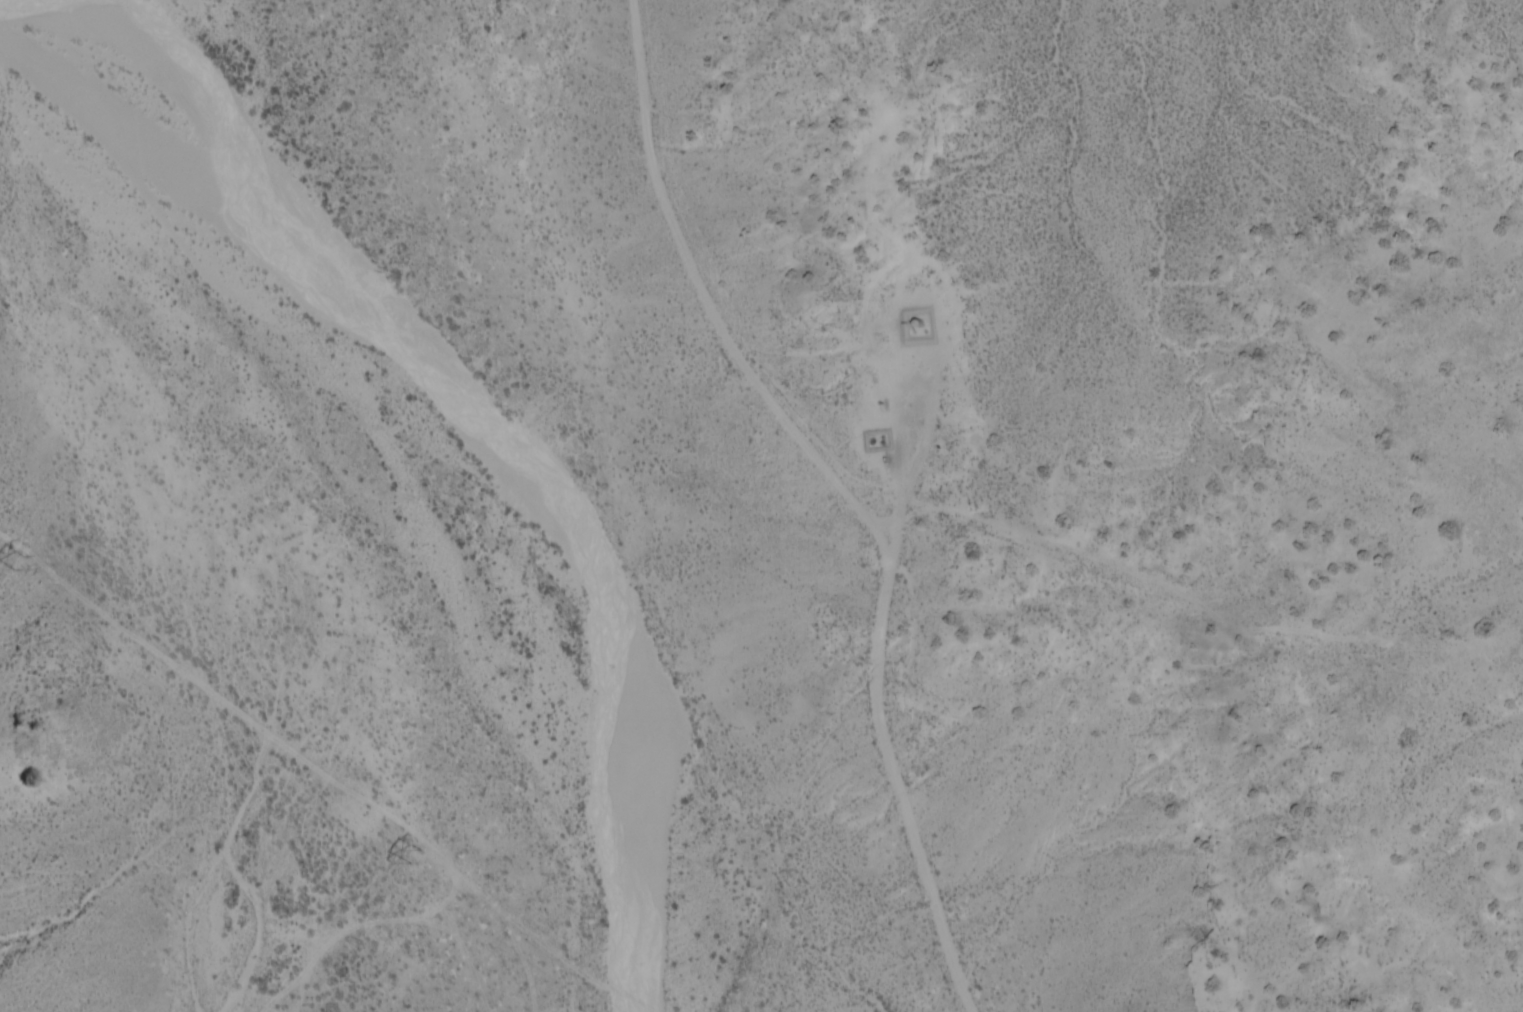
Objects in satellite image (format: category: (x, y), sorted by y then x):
river: (457, 469)
power tower: (23, 566)
power tower: (413, 859)

